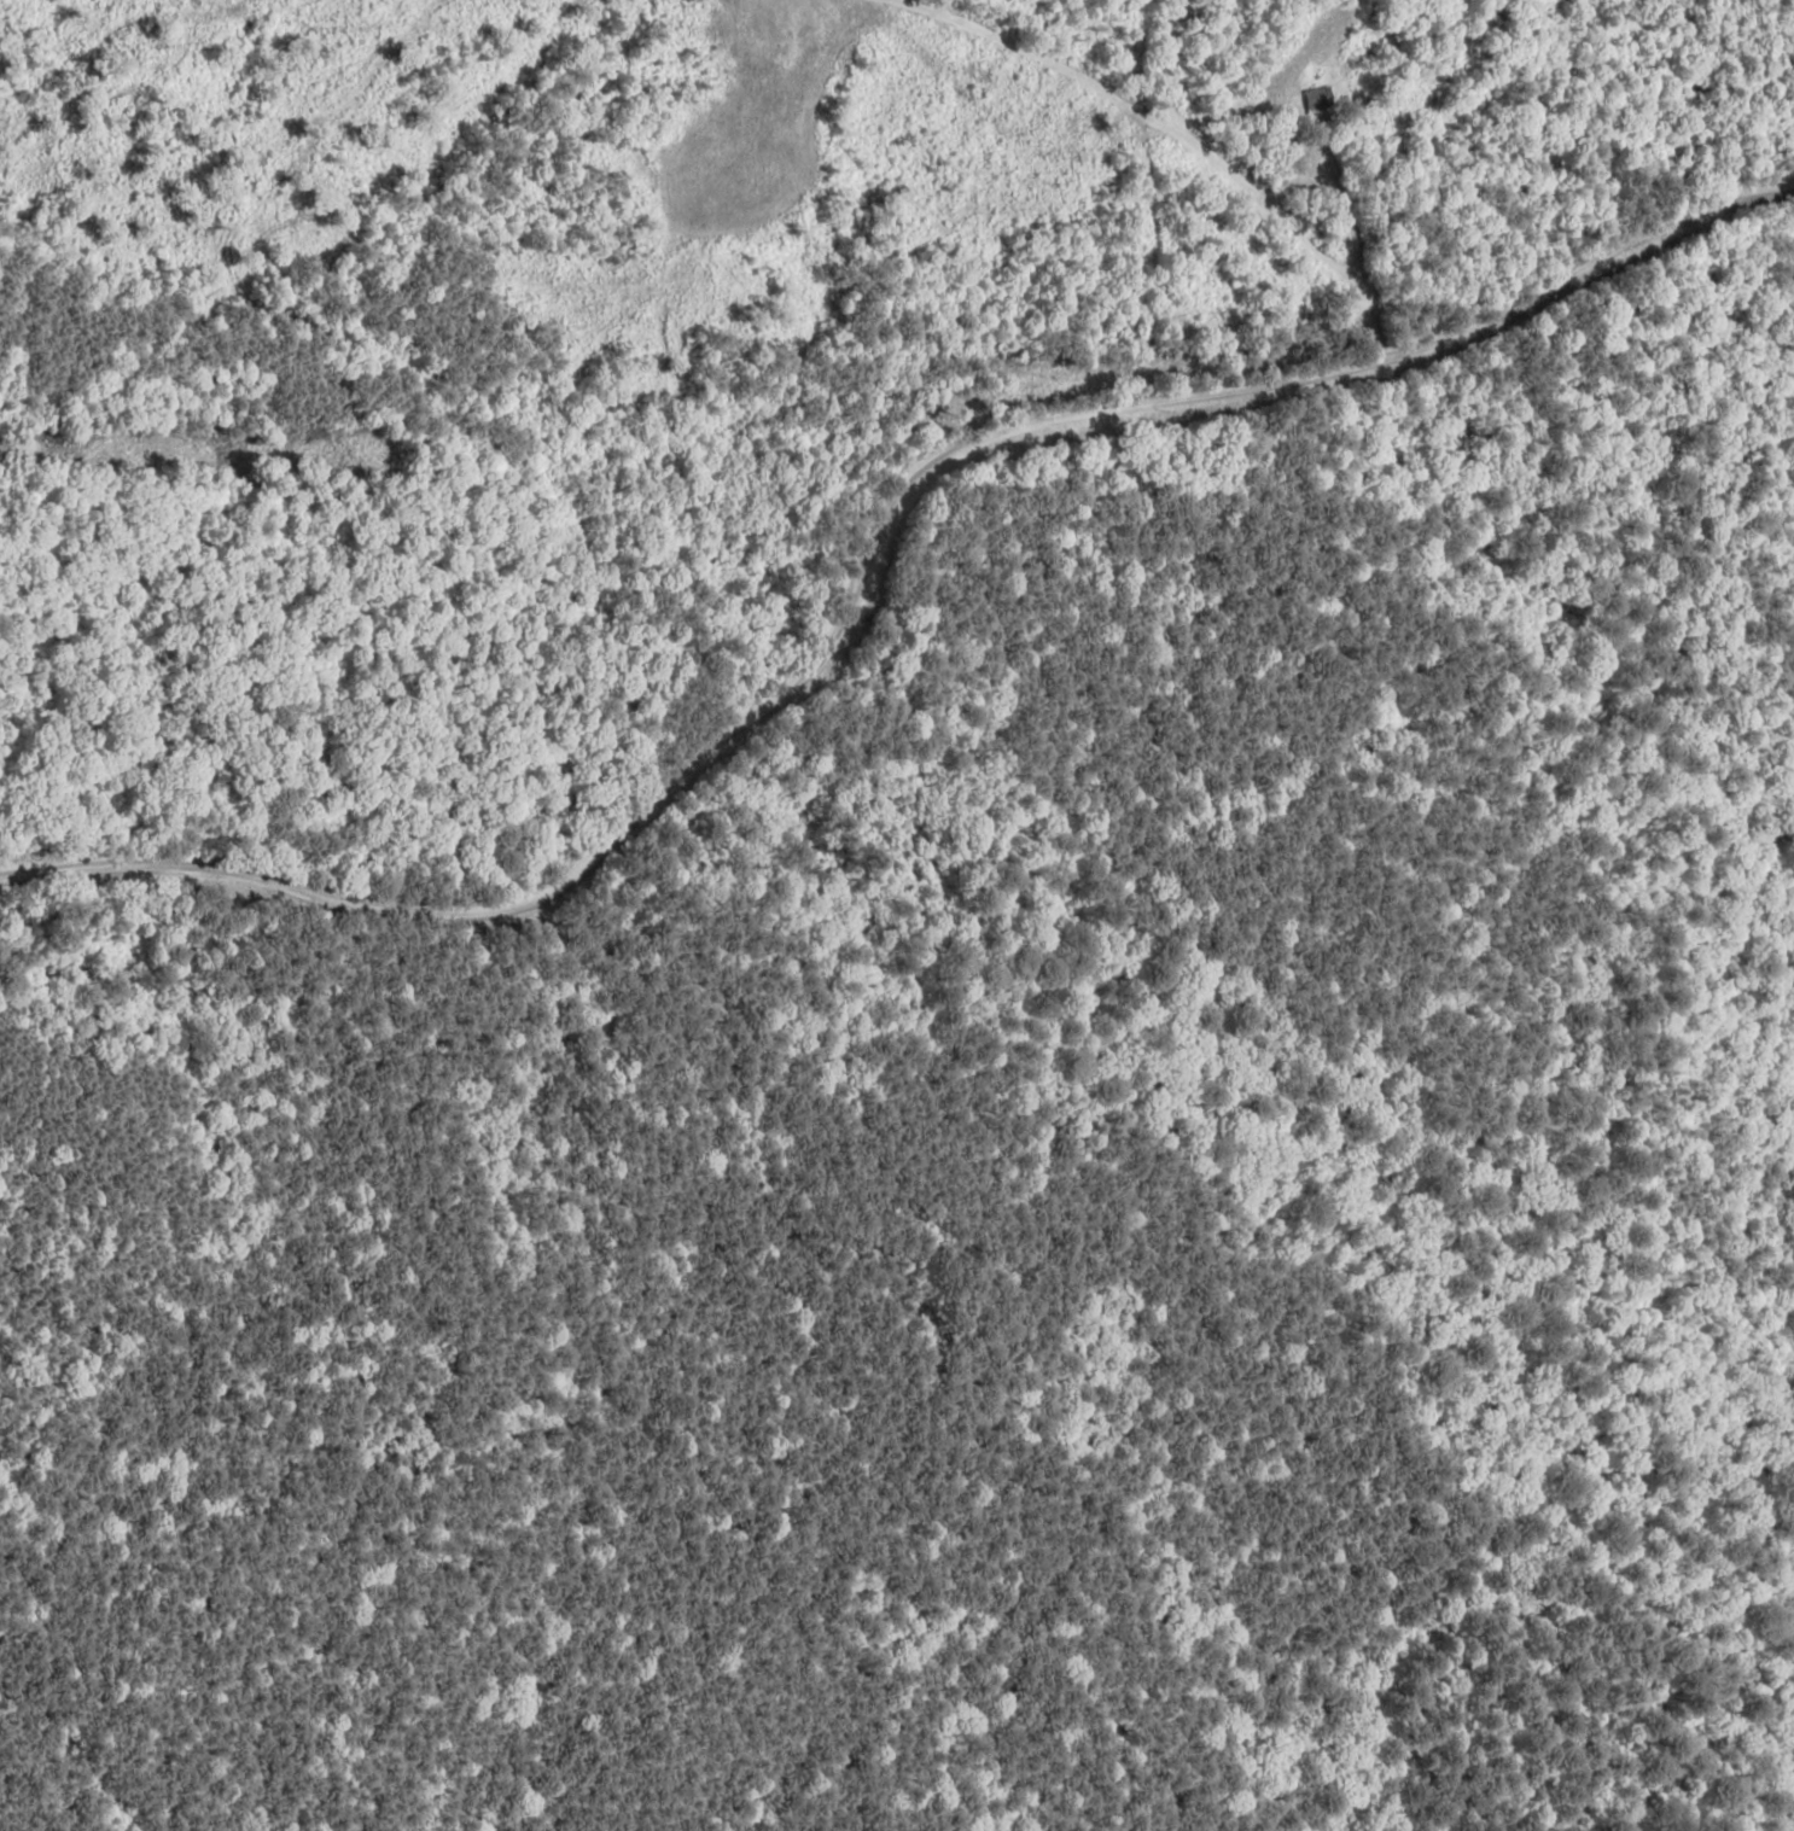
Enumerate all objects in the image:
road: (1144, 134)
road: (903, 600)

